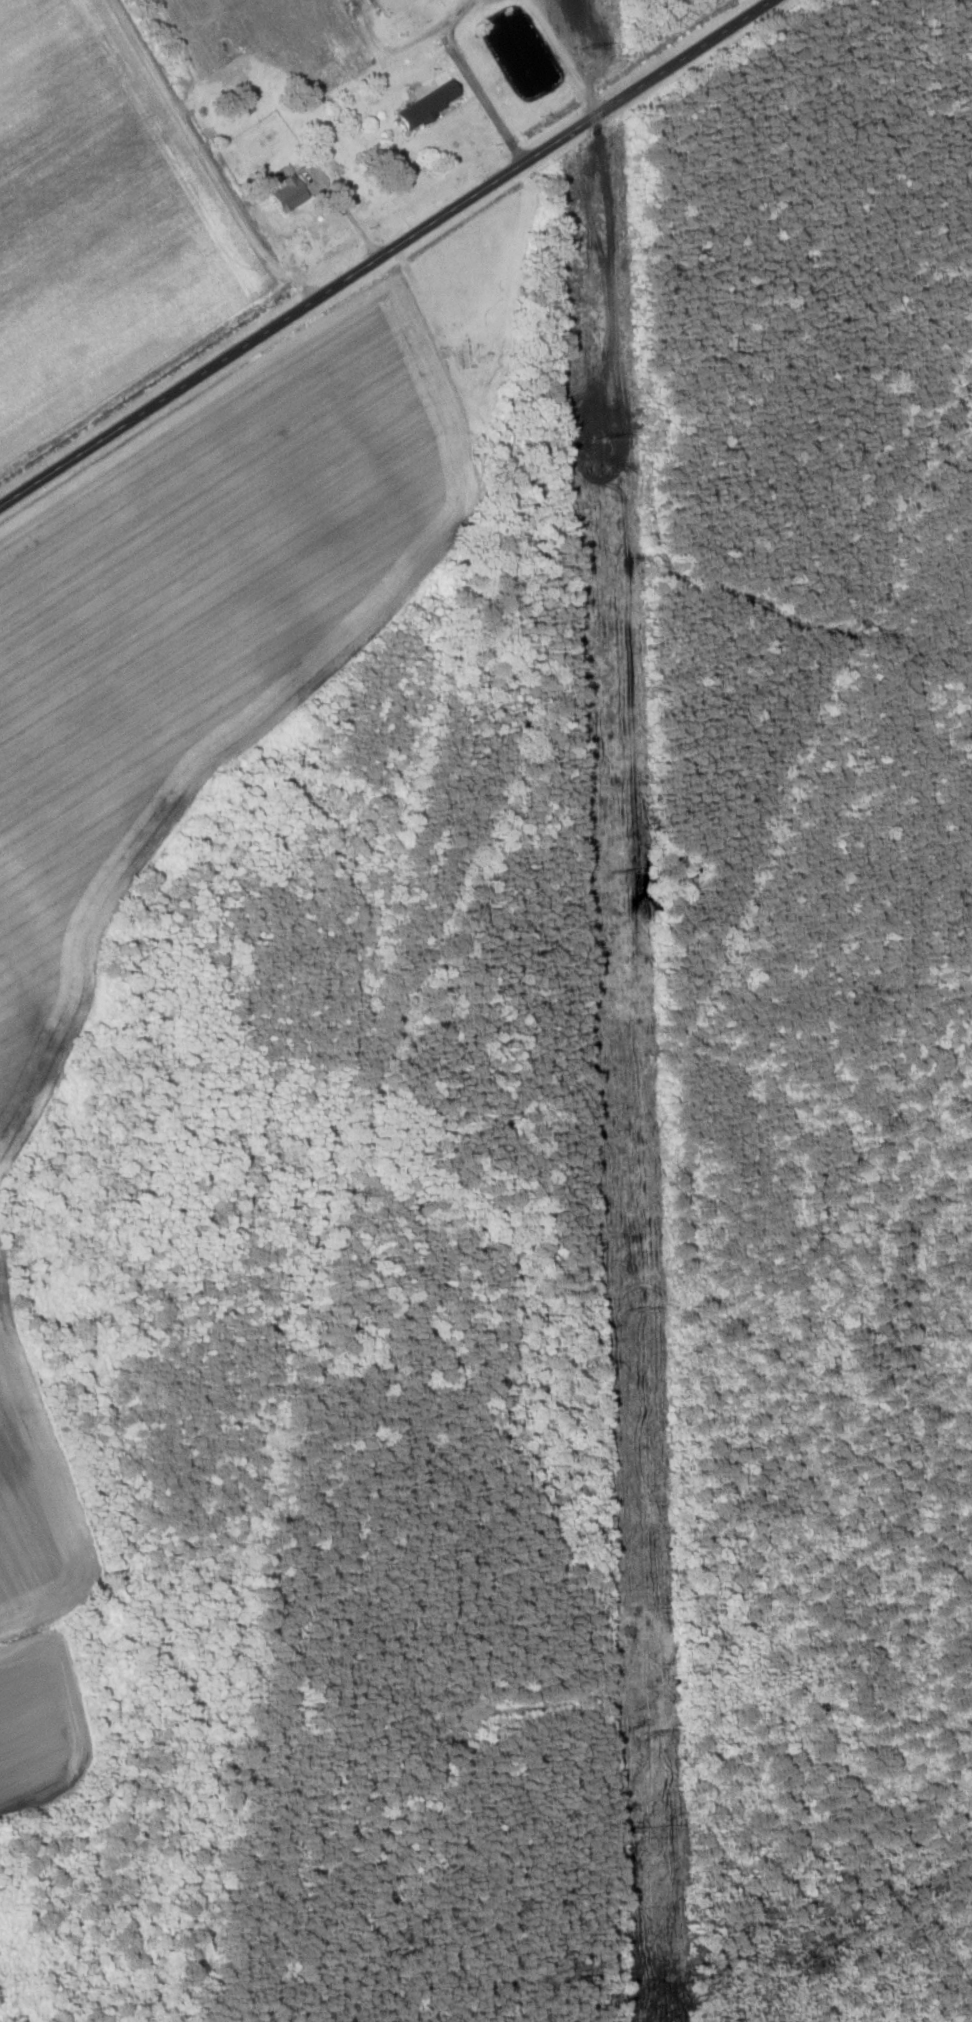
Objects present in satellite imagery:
building: (391, 5)
power tower: (589, 44)
building: (226, 47)
building: (431, 103)
building: (291, 193)
road: (385, 253)
power tower: (602, 435)
power tower: (619, 872)
power tower: (638, 1309)
power tower: (652, 1733)

